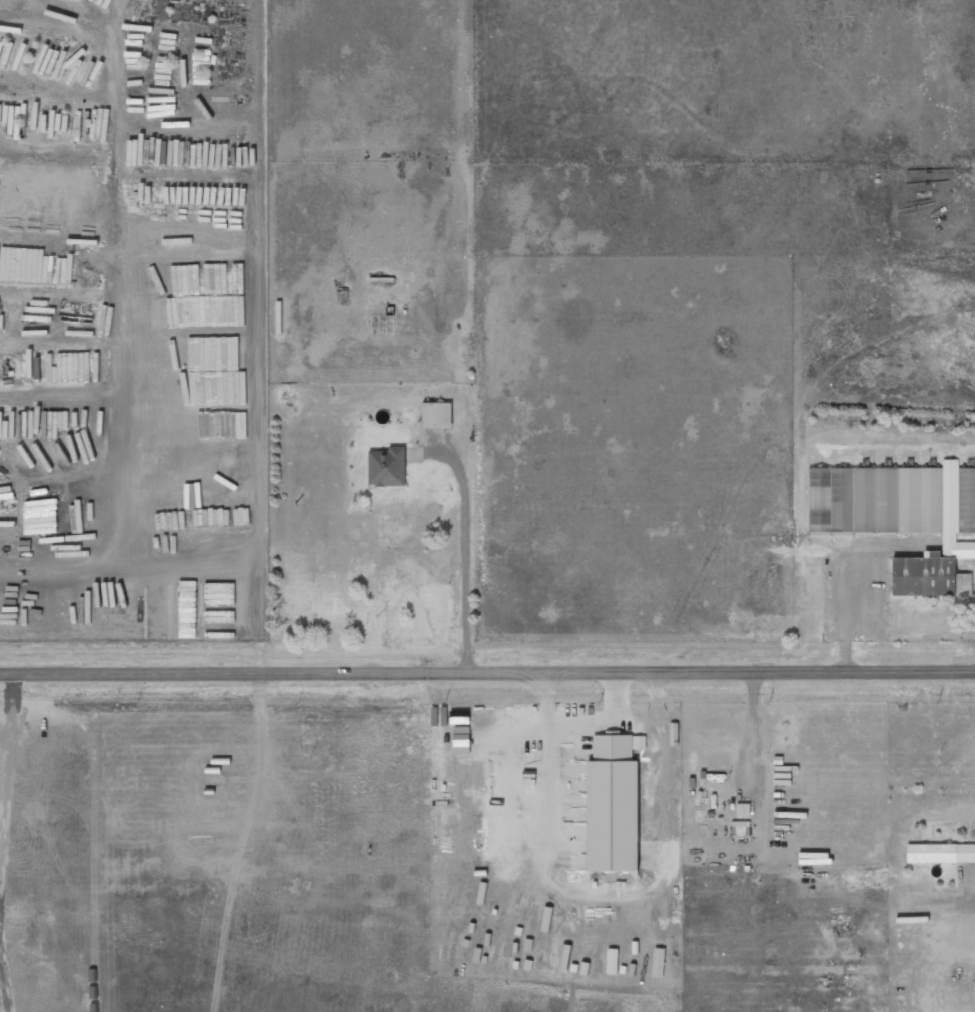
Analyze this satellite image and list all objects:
building: (436, 415)
building: (386, 467)
building: (902, 517)
road: (487, 673)
building: (740, 828)
building: (941, 853)

